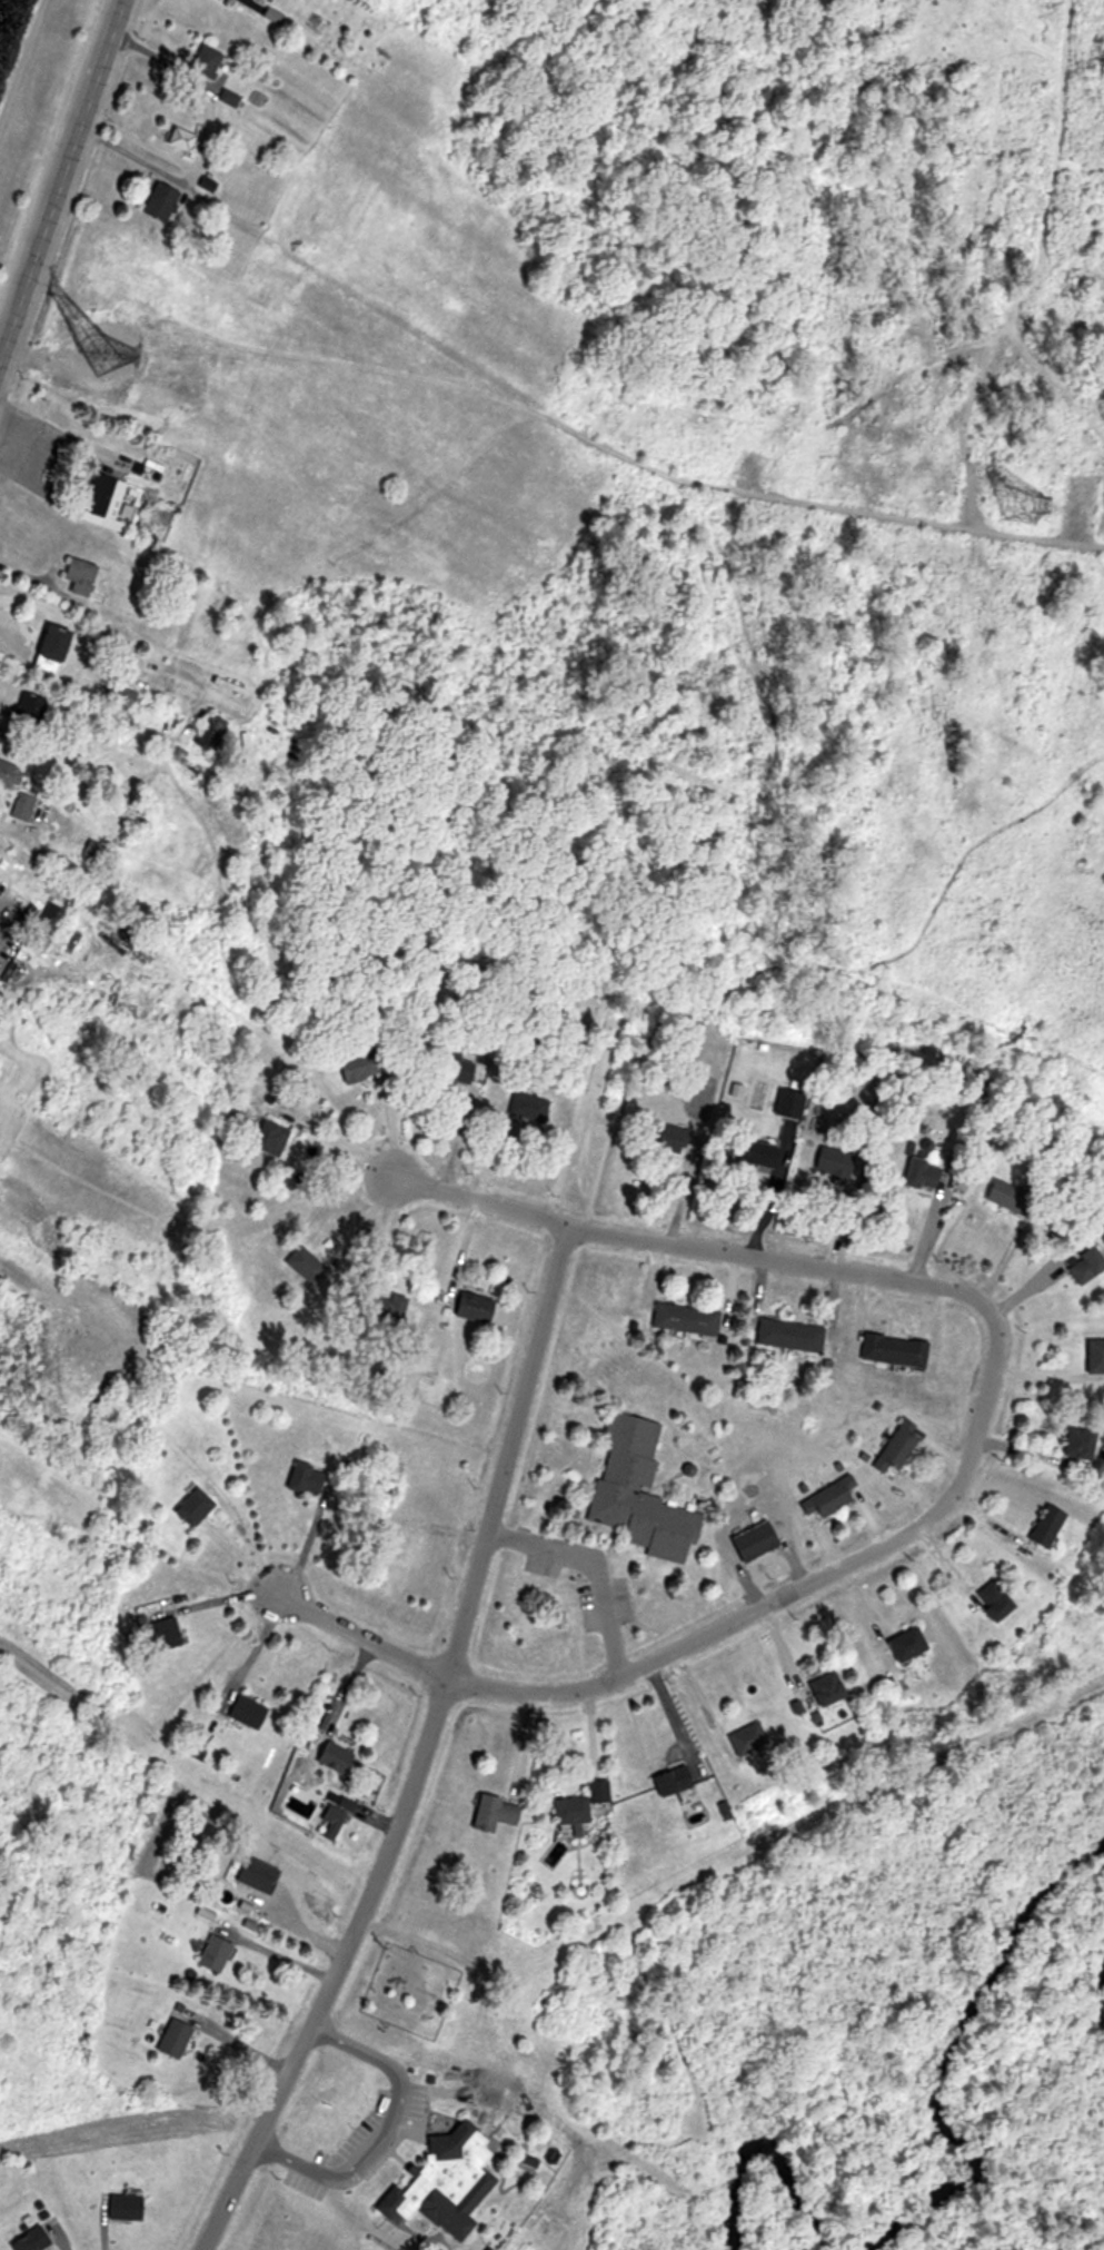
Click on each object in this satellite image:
road: (61, 180)
power tower: (105, 353)
power tower: (1008, 503)

